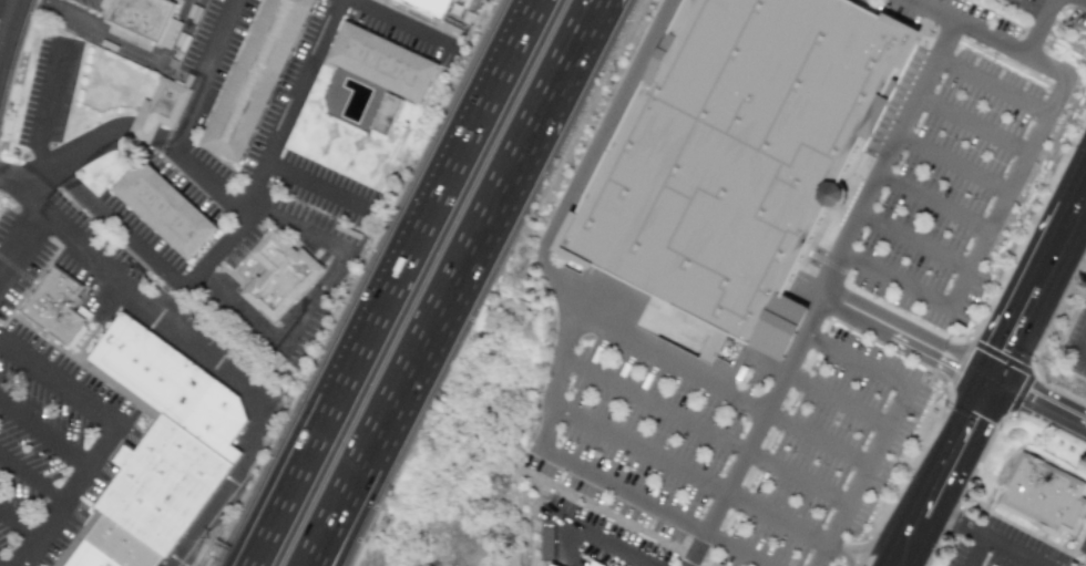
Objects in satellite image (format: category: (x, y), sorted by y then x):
road: (1036, 7)
building: (437, 8)
building: (147, 18)
road: (7, 19)
road: (400, 23)
road: (963, 23)
road: (1042, 28)
road: (180, 32)
road: (112, 38)
road: (565, 51)
building: (389, 64)
building: (256, 76)
road: (301, 81)
road: (994, 85)
road: (45, 110)
building: (158, 110)
building: (391, 117)
road: (185, 120)
road: (974, 123)
road: (1032, 142)
parking lot: (951, 154)
road: (591, 156)
road: (70, 157)
building: (740, 159)
road: (954, 165)
road: (315, 185)
road: (936, 202)
building: (171, 214)
road: (21, 243)
road: (915, 244)
road: (416, 259)
road: (831, 277)
building: (286, 278)
road: (172, 279)
road: (133, 285)
road: (919, 295)
building: (57, 301)
road: (314, 303)
road: (586, 322)
building: (71, 328)
road: (426, 335)
road: (437, 335)
road: (908, 340)
road: (1083, 347)
road: (1083, 353)
road: (1003, 366)
road: (735, 374)
road: (557, 381)
traffic signals: (994, 385)
building: (176, 387)
road: (814, 390)
road: (734, 395)
road: (1039, 408)
road: (885, 424)
road: (43, 432)
road: (703, 432)
road: (104, 440)
parking lot: (732, 443)
road: (685, 472)
road: (31, 477)
road: (228, 487)
building: (166, 488)
building: (1045, 497)
road: (653, 506)
road: (18, 523)
road: (597, 536)
road: (983, 538)
road: (269, 543)
road: (274, 543)
road: (885, 545)
road: (832, 546)
road: (910, 548)
building: (117, 549)
road: (695, 549)
road: (974, 552)
road: (570, 559)
road: (851, 560)
road: (3, 563)
building: (592, 564)
building: (549, 565)
road: (765, 565)

